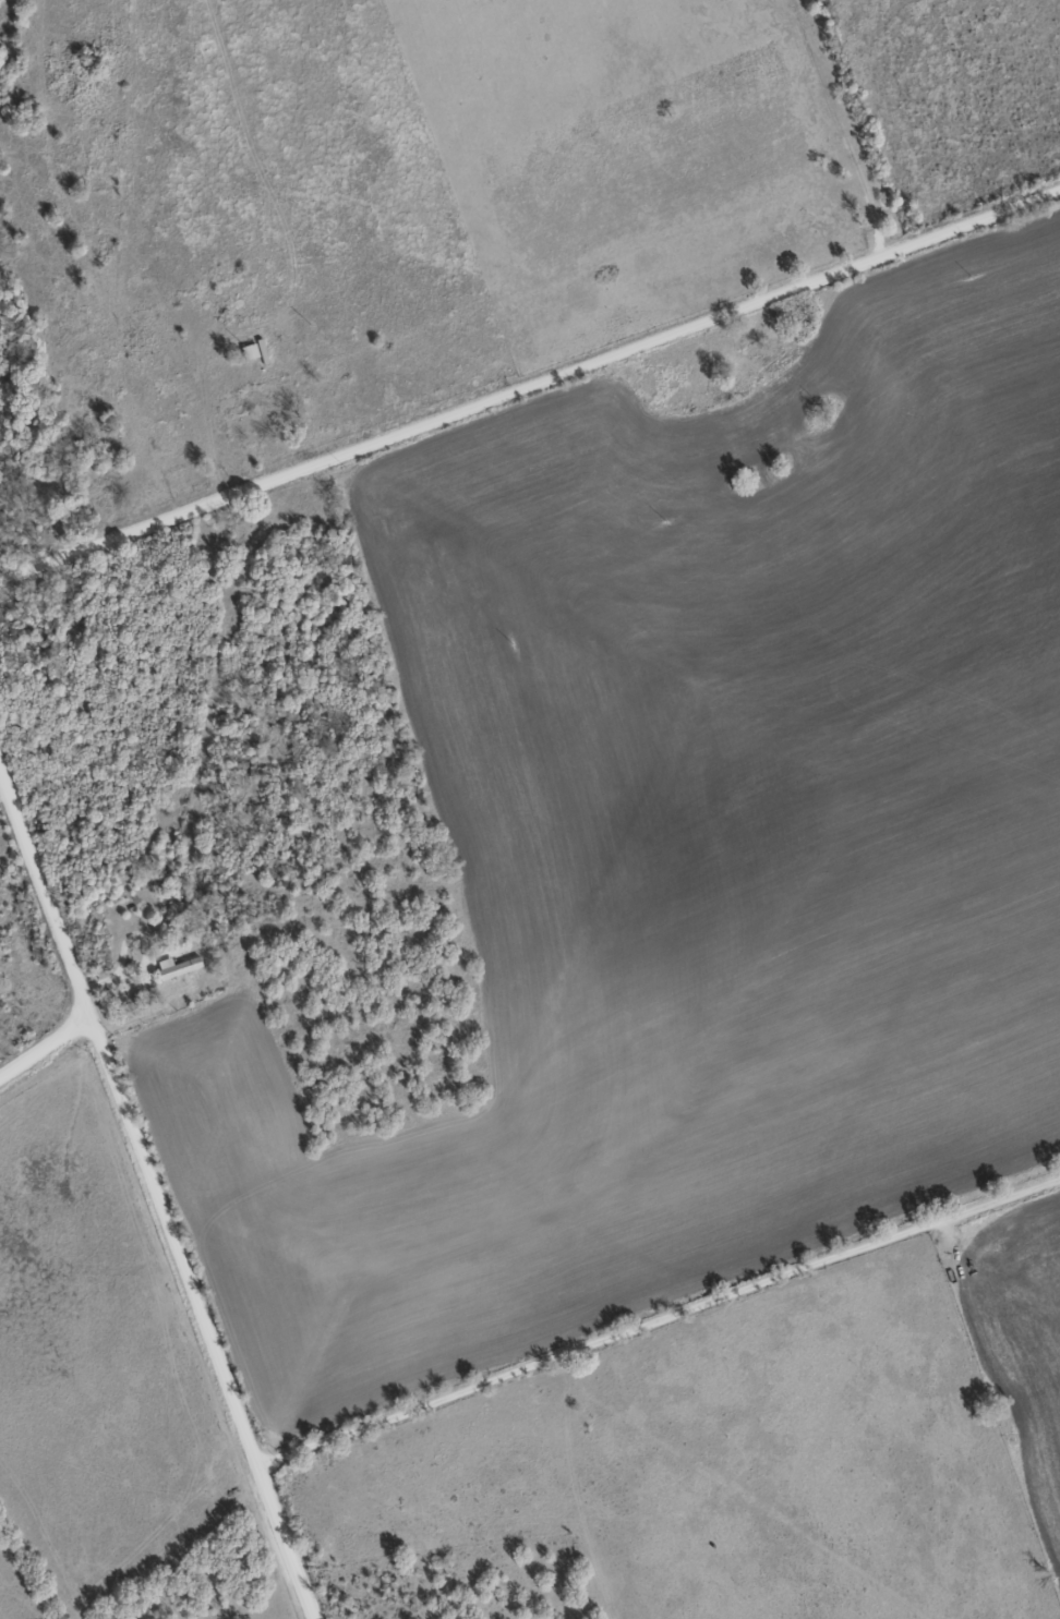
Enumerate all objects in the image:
building: (248, 351)
road: (529, 377)
road: (40, 902)
building: (177, 967)
road: (38, 1038)
road: (190, 1316)
road: (660, 1329)

